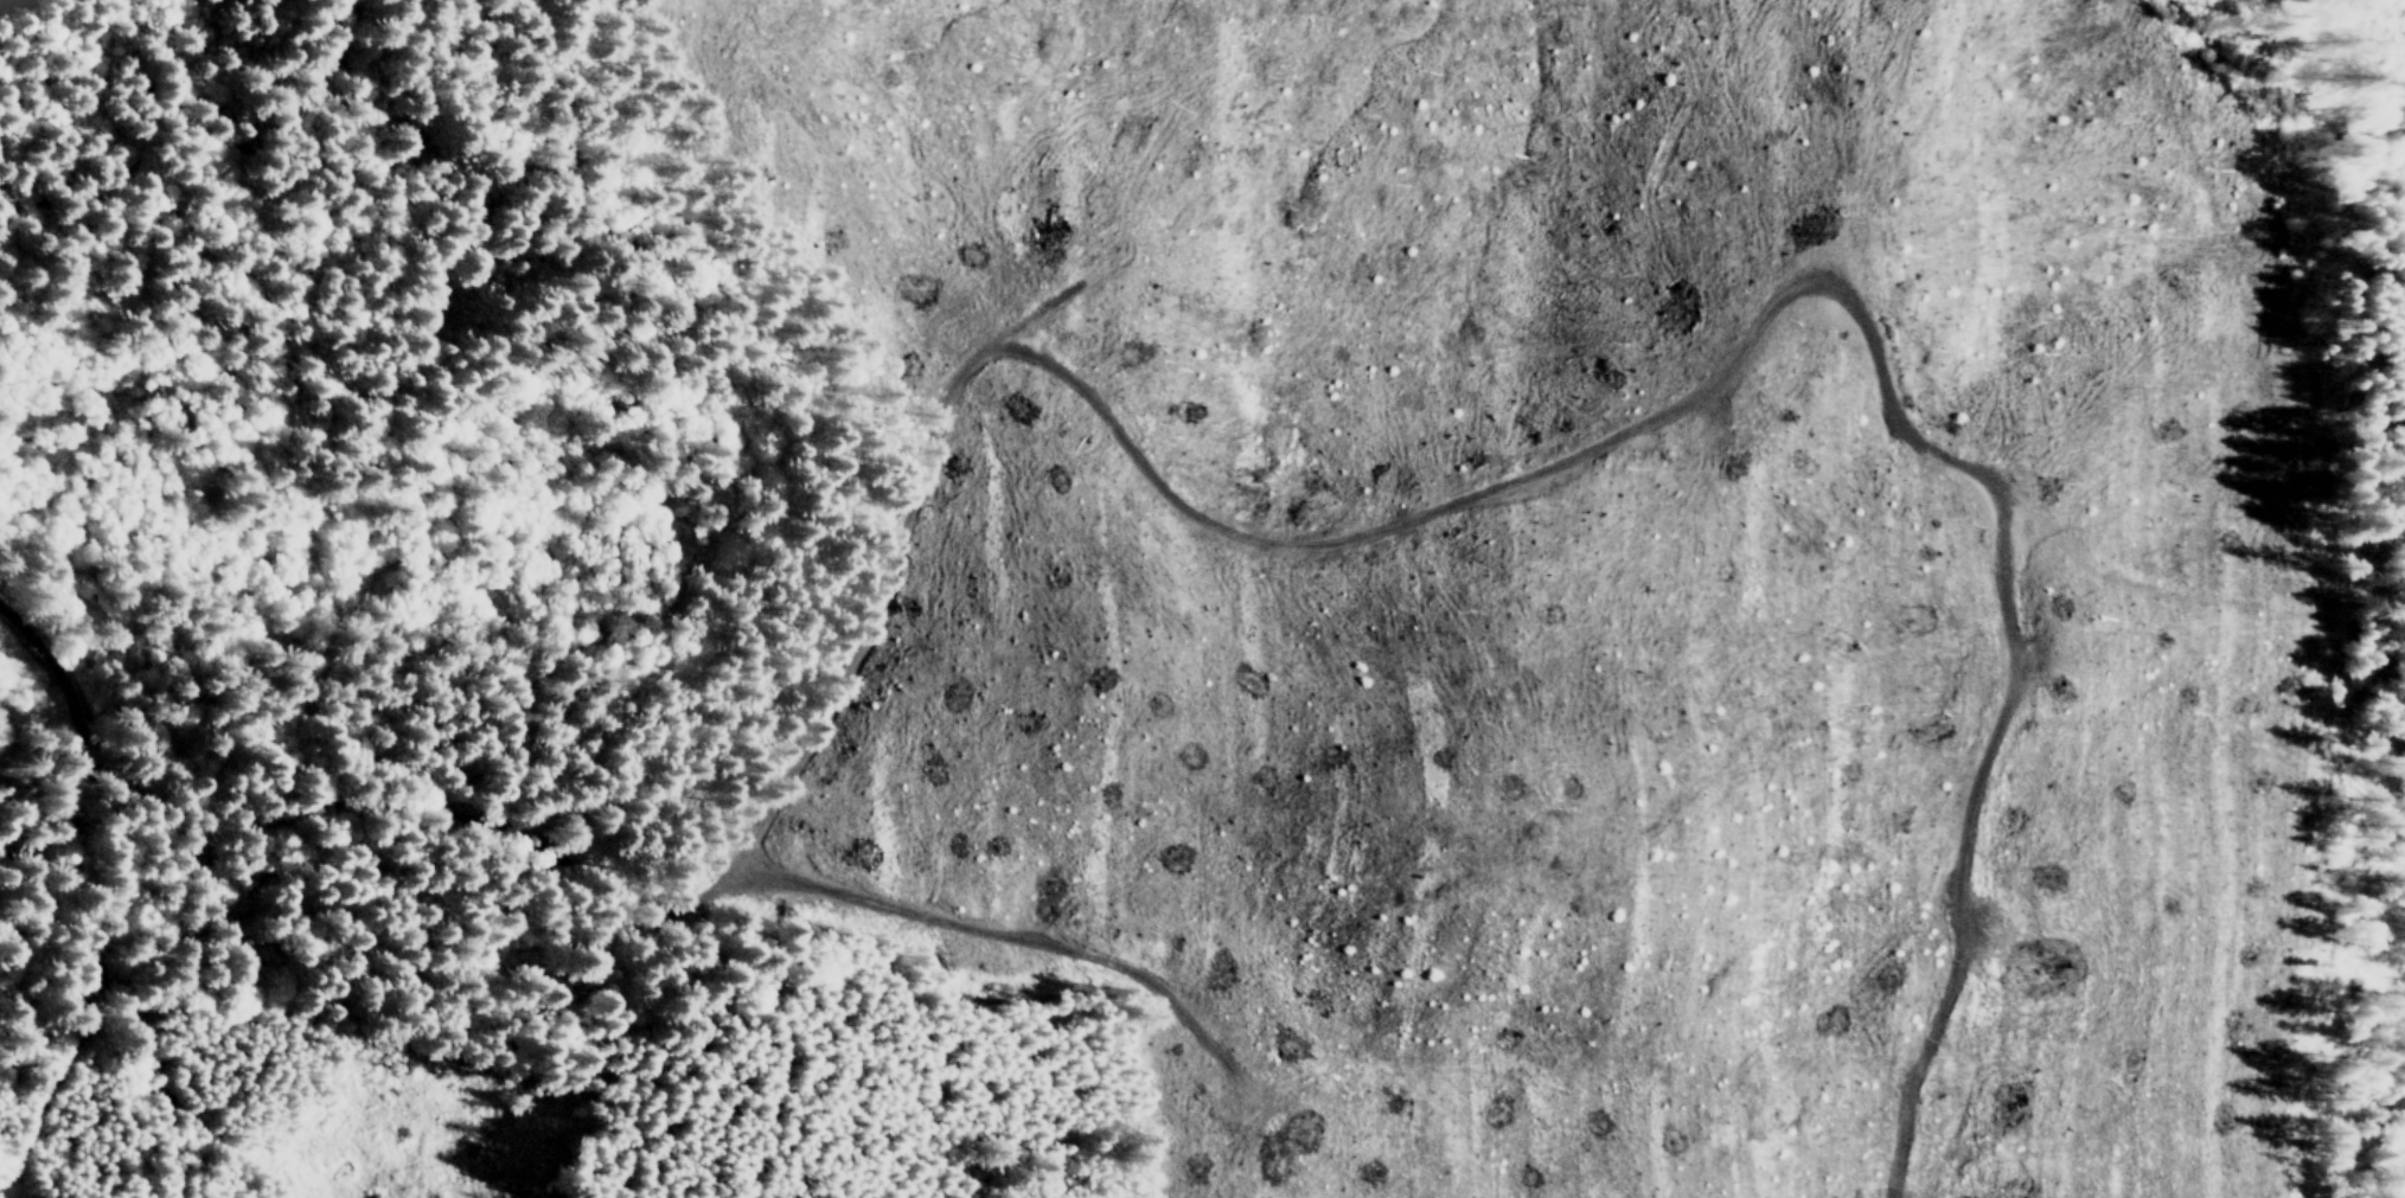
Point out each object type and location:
road: (751, 835)

